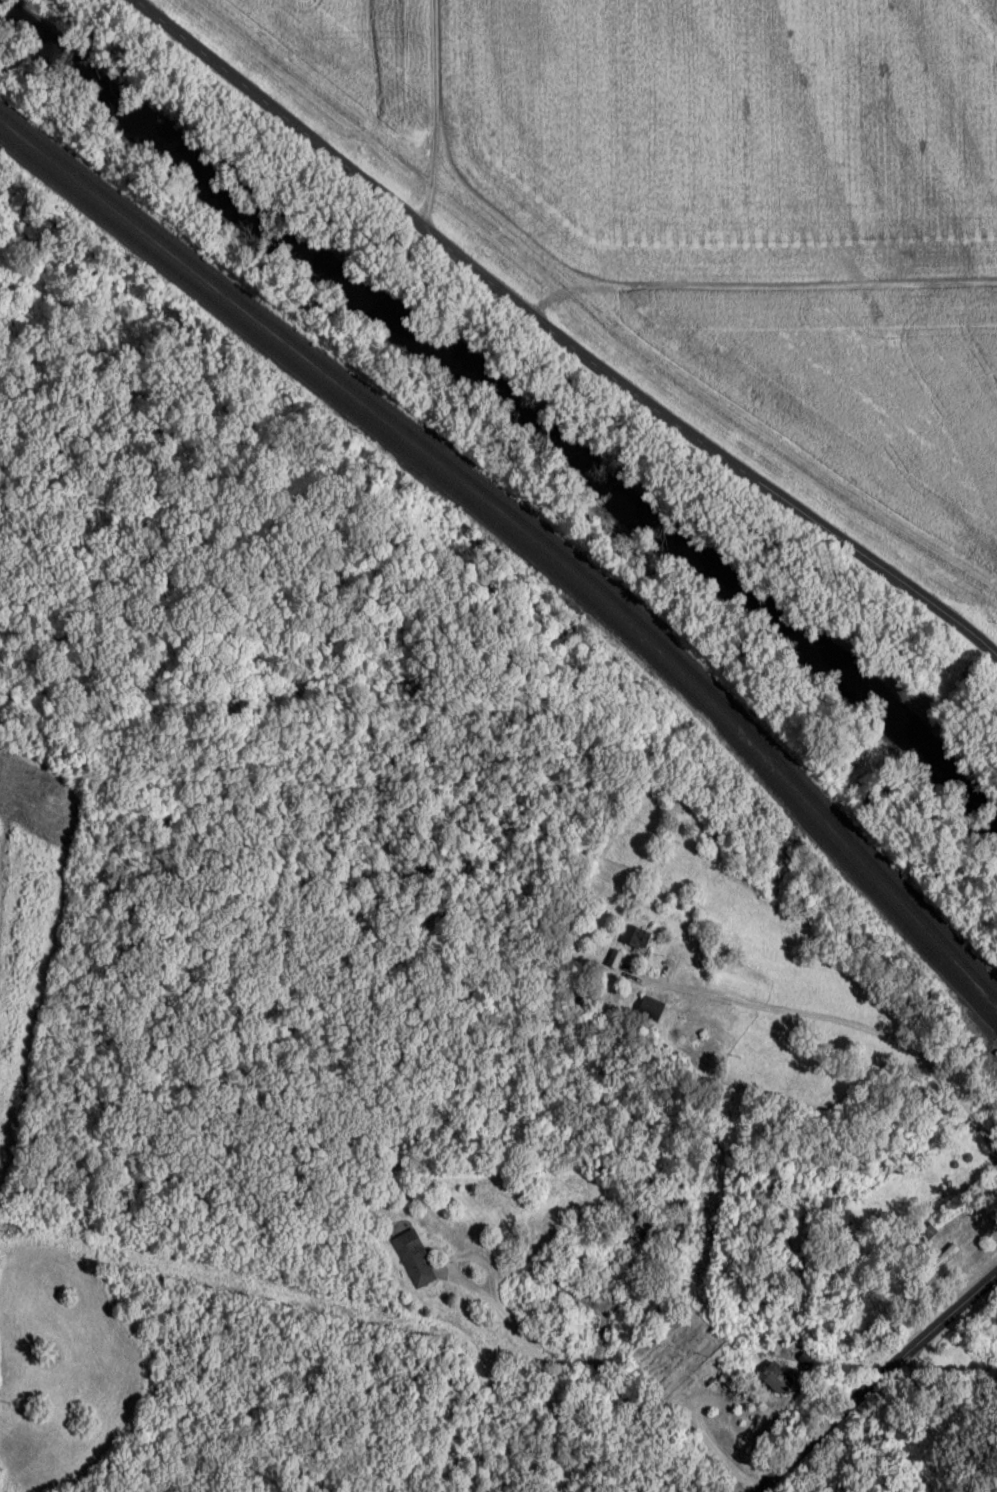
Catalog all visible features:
crop: (365, 50)
crop: (736, 134)
road: (559, 338)
crop: (863, 391)
river: (509, 392)
railway: (525, 529)
railway: (528, 550)
building: (641, 940)
building: (618, 961)
building: (654, 1011)
building: (415, 1261)
road: (828, 1371)
building: (743, 1374)
building: (787, 1380)

